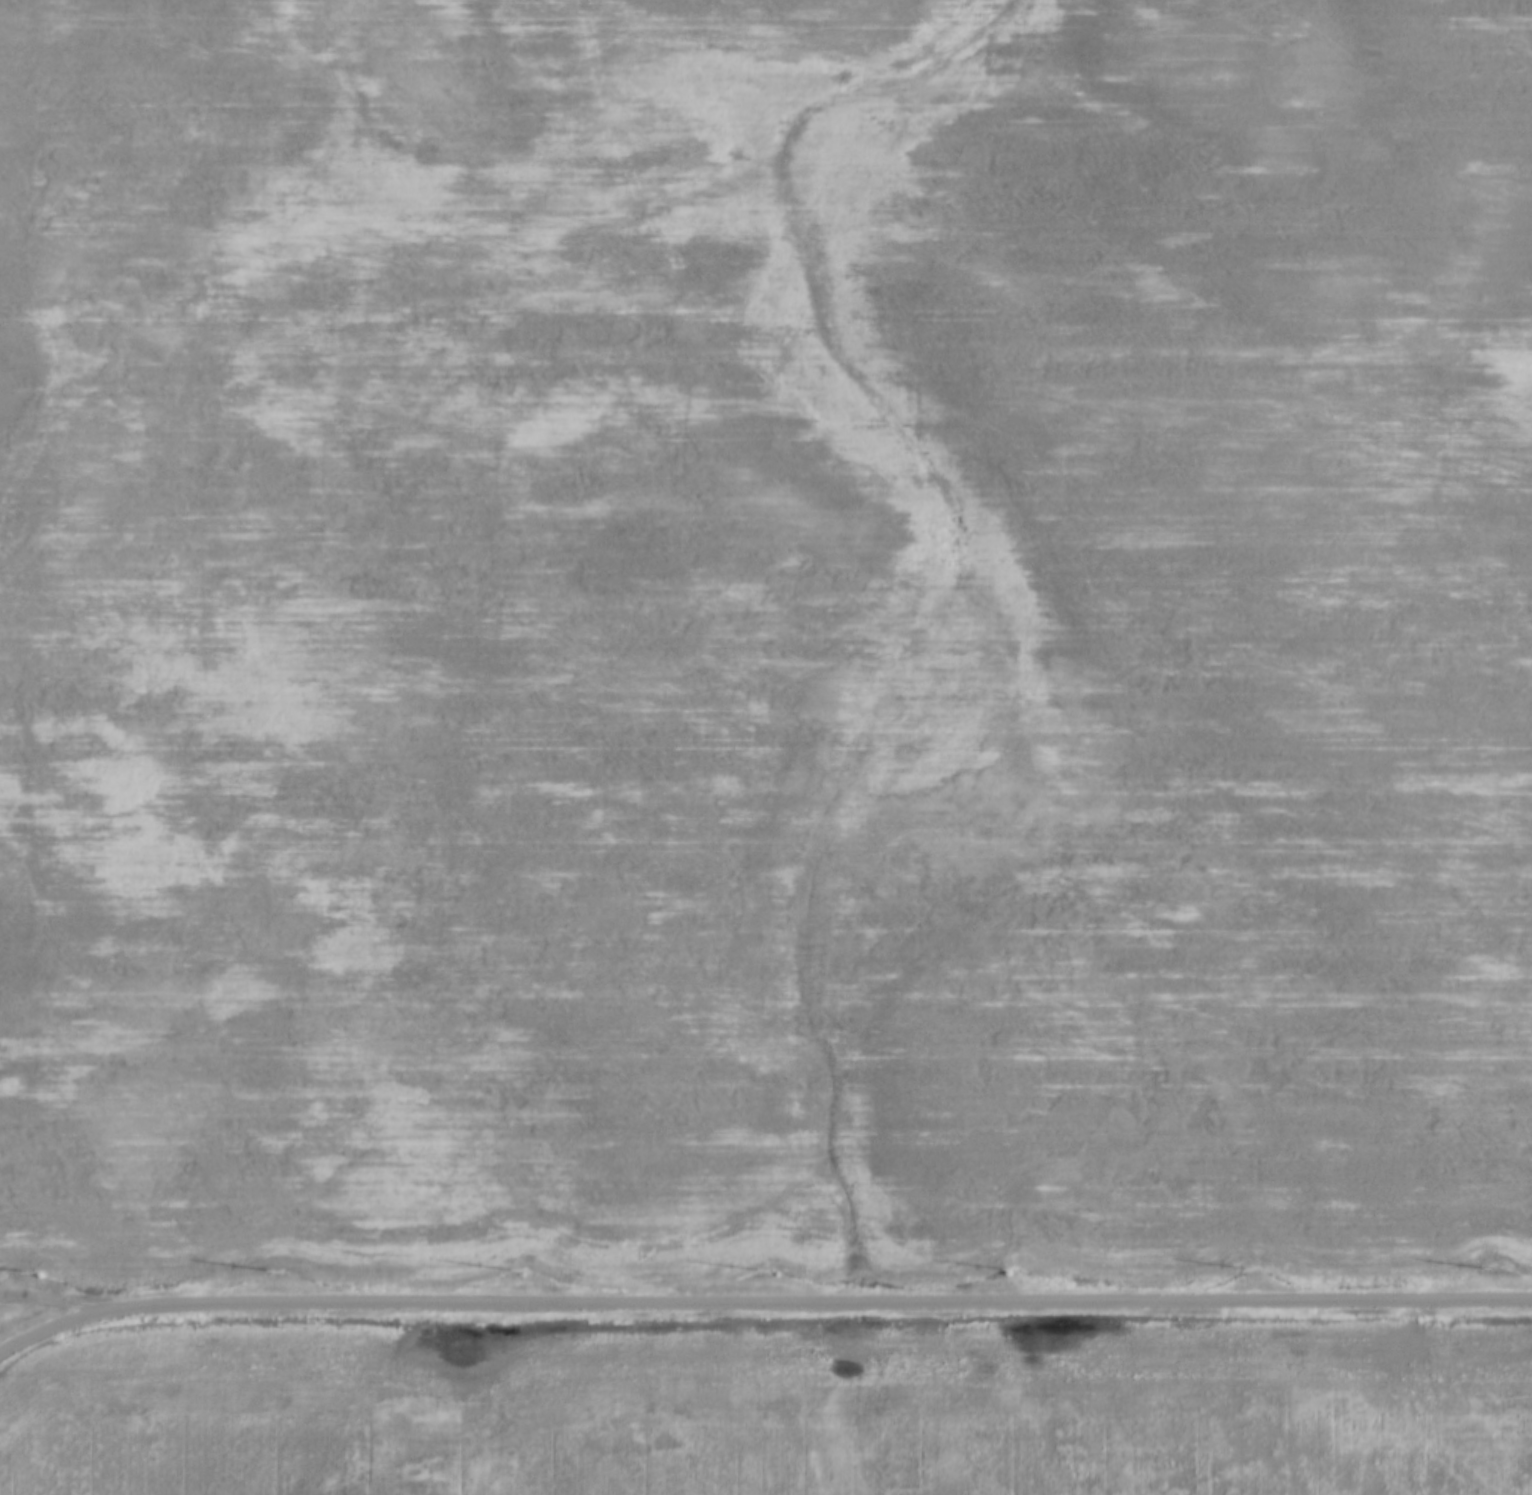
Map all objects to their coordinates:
road: (54, 1298)
road: (819, 1299)
road: (53, 1327)

